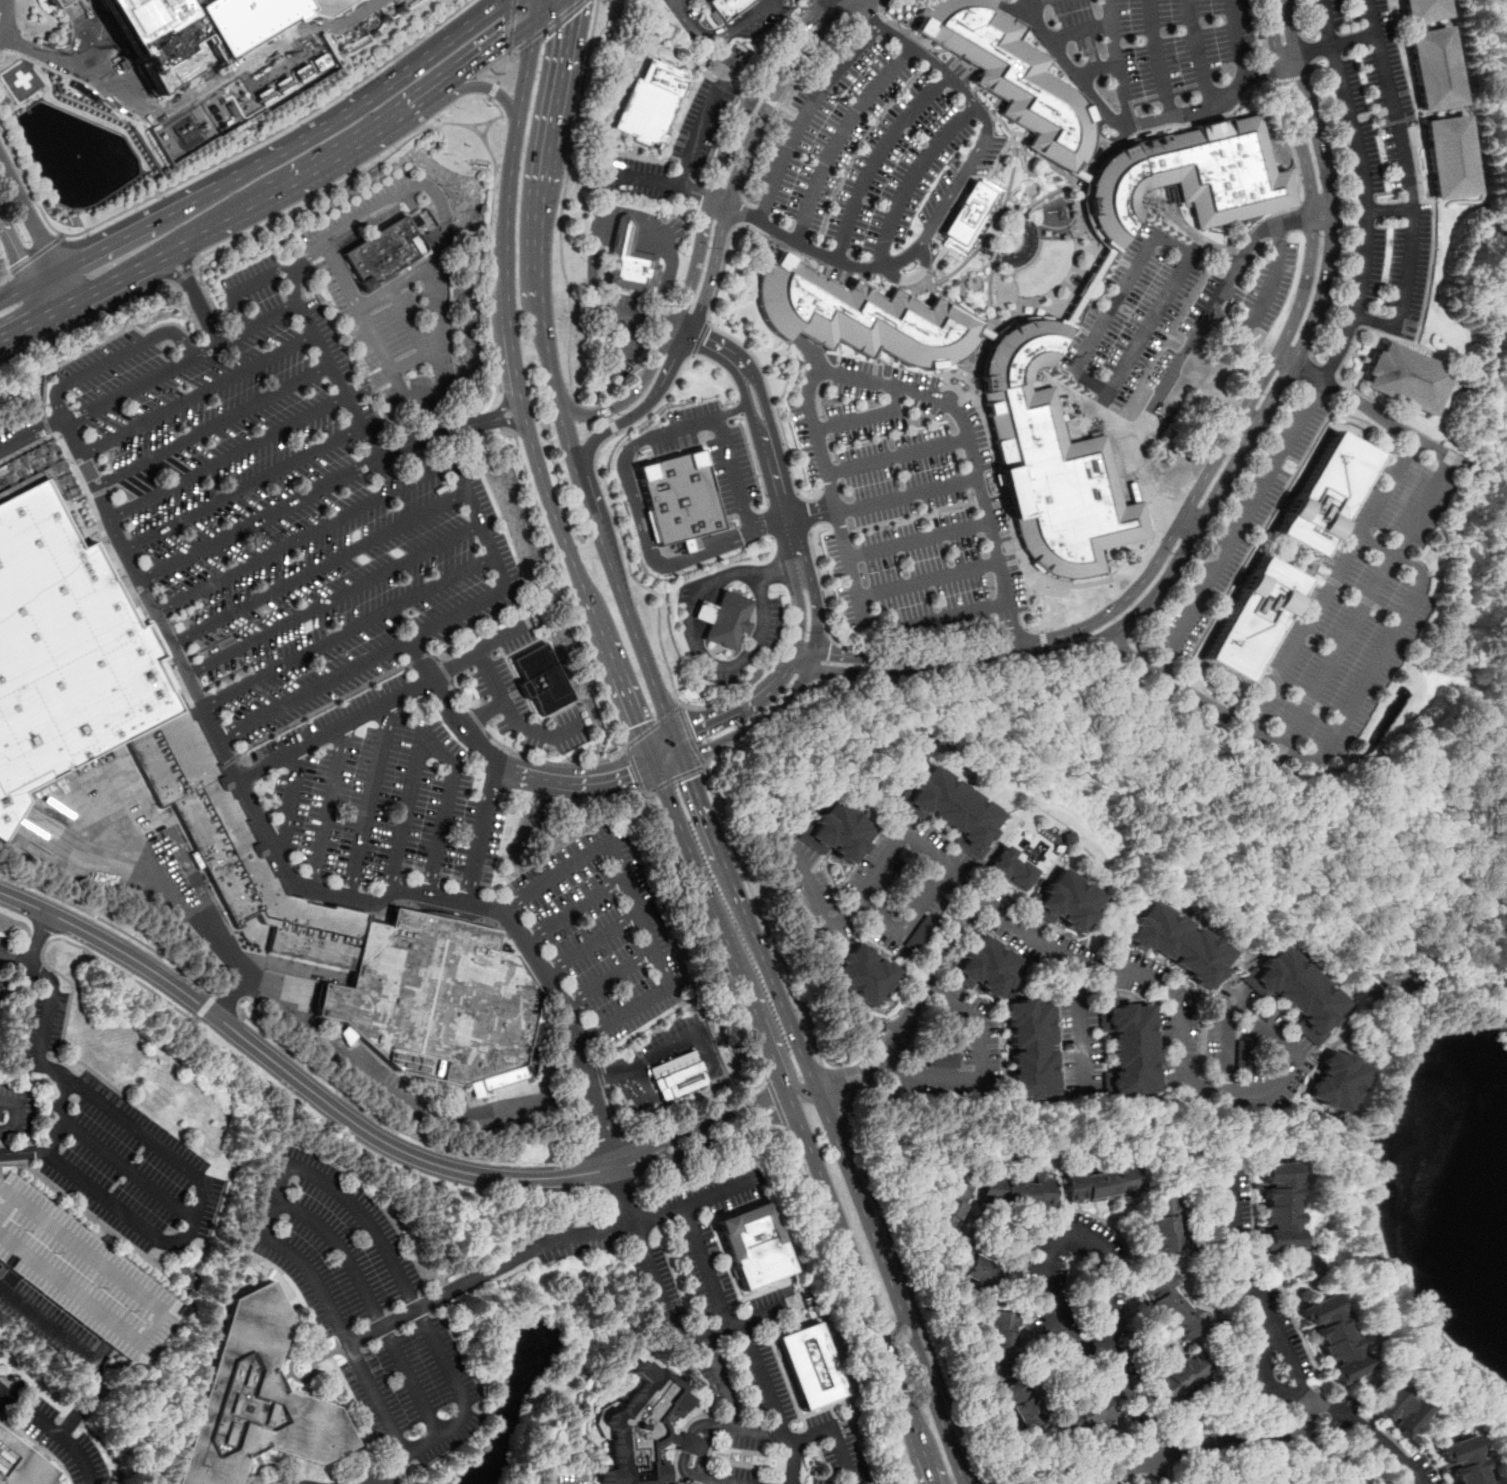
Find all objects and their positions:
road: (672, 0)
road: (1034, 2)
road: (821, 3)
building: (63, 4)
building: (325, 6)
road: (538, 7)
road: (546, 7)
building: (727, 7)
building: (1422, 10)
road: (4, 12)
traffic signals: (571, 17)
parking lot: (727, 17)
road: (1295, 19)
road: (551, 23)
road: (1324, 23)
road: (511, 25)
road: (720, 29)
road: (1081, 30)
building: (185, 32)
road: (723, 39)
road: (1238, 39)
traffic signals: (502, 43)
road: (1335, 44)
road: (916, 50)
road: (1305, 50)
road: (514, 51)
road: (1198, 54)
parking lot: (1149, 57)
road: (56, 58)
road: (1157, 59)
building: (319, 62)
road: (1119, 62)
road: (502, 67)
building: (1433, 68)
building: (1012, 77)
road: (1289, 77)
helipad: (21, 79)
road: (76, 80)
road: (486, 87)
road: (757, 87)
road: (492, 90)
road: (384, 91)
road: (776, 91)
road: (762, 95)
road: (779, 101)
building: (649, 102)
road: (786, 109)
road: (554, 116)
road: (803, 116)
road: (1138, 123)
road: (475, 131)
road: (837, 134)
road: (1291, 148)
parking lot: (864, 149)
parking lot: (674, 151)
building: (1448, 156)
road: (873, 157)
fountain: (73, 161)
road: (220, 161)
road: (1407, 161)
road: (687, 168)
road: (306, 172)
parking lot: (1371, 173)
building: (1188, 176)
road: (913, 177)
road: (335, 185)
road: (411, 185)
road: (697, 190)
road: (951, 196)
road: (721, 198)
road: (1389, 209)
building: (968, 212)
road: (1339, 217)
road: (154, 221)
road: (560, 230)
road: (36, 231)
road: (624, 231)
road: (59, 235)
road: (729, 236)
road: (486, 243)
road: (801, 244)
building: (382, 253)
road: (29, 258)
building: (629, 259)
road: (1235, 260)
road: (695, 261)
road: (593, 262)
road: (0, 265)
parking lot: (329, 265)
road: (670, 266)
park: (1046, 266)
road: (24, 267)
road: (711, 268)
road: (183, 276)
parking lot: (630, 278)
road: (405, 280)
road: (28, 286)
road: (241, 286)
road: (197, 296)
road: (1113, 302)
parking lot: (1172, 308)
road: (55, 310)
road: (615, 312)
road: (276, 316)
building: (862, 316)
road: (544, 319)
road: (1374, 319)
road: (408, 321)
road: (193, 323)
road: (628, 323)
road: (24, 326)
road: (680, 329)
road: (1141, 333)
road: (1192, 337)
road: (698, 338)
road: (734, 358)
road: (114, 360)
road: (668, 371)
road: (1324, 376)
building: (1404, 377)
road: (399, 391)
road: (631, 395)
road: (199, 396)
road: (892, 397)
road: (505, 400)
road: (741, 406)
road: (1363, 406)
road: (774, 412)
road: (502, 415)
road: (1248, 419)
road: (856, 420)
road: (511, 426)
road: (214, 427)
road: (602, 433)
road: (30, 434)
road: (434, 434)
road: (896, 457)
road: (229, 460)
building: (1049, 461)
road: (772, 462)
road: (973, 464)
road: (757, 467)
road: (1209, 468)
road: (735, 475)
road: (605, 479)
road: (1221, 483)
parking lot: (692, 487)
road: (243, 489)
road: (905, 491)
building: (1324, 493)
building: (680, 497)
parking lot: (905, 501)
parking lot: (283, 503)
road: (638, 507)
road: (804, 514)
road: (811, 515)
road: (258, 519)
road: (1010, 523)
parking lot: (1238, 529)
road: (918, 541)
road: (794, 543)
road: (275, 553)
road: (126, 557)
road: (500, 567)
road: (574, 567)
road: (849, 567)
road: (320, 569)
road: (779, 570)
road: (727, 575)
road: (927, 578)
road: (617, 581)
road: (1333, 582)
road: (565, 584)
parking lot: (1360, 598)
road: (334, 600)
road: (1367, 602)
road: (799, 606)
road: (816, 606)
building: (723, 618)
parking lot: (730, 618)
building: (1248, 620)
road: (1010, 631)
road: (349, 632)
road: (868, 636)
road: (1386, 639)
road: (1044, 647)
road: (432, 654)
road: (418, 658)
road: (812, 660)
road: (454, 665)
road: (730, 665)
road: (789, 665)
road: (442, 670)
road: (998, 673)
building: (540, 678)
road: (313, 688)
parking lot: (518, 693)
road: (458, 694)
road: (501, 695)
road: (1208, 703)
road: (320, 708)
road: (728, 711)
road: (482, 714)
road: (476, 720)
traffic signals: (637, 723)
road: (754, 723)
traffic signals: (692, 725)
road: (652, 726)
road: (335, 729)
road: (689, 735)
road: (216, 736)
road: (660, 740)
road: (430, 741)
road: (483, 748)
road: (227, 762)
road: (669, 762)
road: (553, 763)
road: (606, 766)
road: (633, 768)
road: (499, 772)
traffic signals: (691, 777)
traffic signals: (630, 778)
road: (676, 778)
road: (609, 784)
parking lot: (383, 798)
road: (289, 800)
road: (372, 800)
road: (327, 809)
building: (952, 809)
building: (228, 815)
building: (837, 831)
road: (480, 843)
road: (1338, 859)
building: (1009, 868)
building: (1067, 901)
road: (635, 903)
road: (475, 906)
road: (576, 910)
road: (188, 913)
road: (758, 913)
road: (819, 915)
road: (908, 921)
road: (749, 923)
road: (112, 925)
road: (81, 929)
road: (706, 930)
parking lot: (605, 932)
building: (921, 933)
road: (62, 939)
road: (593, 942)
building: (1178, 943)
road: (33, 955)
road: (14, 963)
building: (984, 967)
building: (860, 974)
road: (610, 978)
building: (1296, 991)
road: (1354, 991)
road: (225, 1002)
road: (204, 1006)
road: (911, 1009)
road: (1179, 1013)
road: (1080, 1023)
road: (44, 1028)
building: (347, 1035)
parking lot: (555, 1042)
parking lot: (674, 1042)
building: (1128, 1047)
building: (1028, 1048)
building: (941, 1059)
road: (616, 1070)
road: (981, 1070)
road: (95, 1072)
road: (600, 1074)
building: (677, 1074)
road: (829, 1084)
building: (1346, 1086)
road: (797, 1090)
road: (776, 1104)
road: (14, 1113)
road: (675, 1120)
road: (711, 1121)
road: (55, 1123)
road: (395, 1128)
road: (376, 1137)
road: (717, 1137)
road: (610, 1140)
road: (711, 1161)
road: (126, 1166)
building: (1099, 1181)
road: (618, 1187)
road: (1366, 1187)
building: (1019, 1190)
road: (566, 1194)
road: (275, 1198)
road: (694, 1199)
building: (1279, 1204)
road: (199, 1205)
building: (948, 1207)
building: (1164, 1222)
building: (754, 1246)
road: (1106, 1257)
road: (705, 1265)
building: (972, 1268)
road: (395, 1270)
road: (485, 1270)
building: (86, 1276)
parking garage: (86, 1276)
road: (891, 1286)
road: (0, 1287)
road: (860, 1287)
road: (910, 1295)
road: (661, 1301)
road: (369, 1303)
parking lot: (366, 1304)
road: (854, 1304)
building: (1170, 1305)
road: (344, 1334)
building: (1334, 1337)
parking lot: (735, 1338)
building: (999, 1339)
road: (81, 1350)
road: (1285, 1355)
building: (1248, 1361)
building: (809, 1366)
road: (1265, 1369)
building: (1178, 1378)
road: (763, 1379)
road: (721, 1380)
building: (255, 1399)
building: (1021, 1405)
building: (1397, 1410)
building: (1084, 1411)
road: (1300, 1421)
road: (708, 1426)
building: (643, 1428)
road: (53, 1431)
road: (837, 1435)
road: (1227, 1437)
road: (421, 1441)
road: (792, 1460)
building: (1464, 1461)
building: (21, 1464)
road: (1157, 1471)
road: (363, 1481)
road: (386, 1481)
building: (1233, 1481)
building: (1408, 1483)

